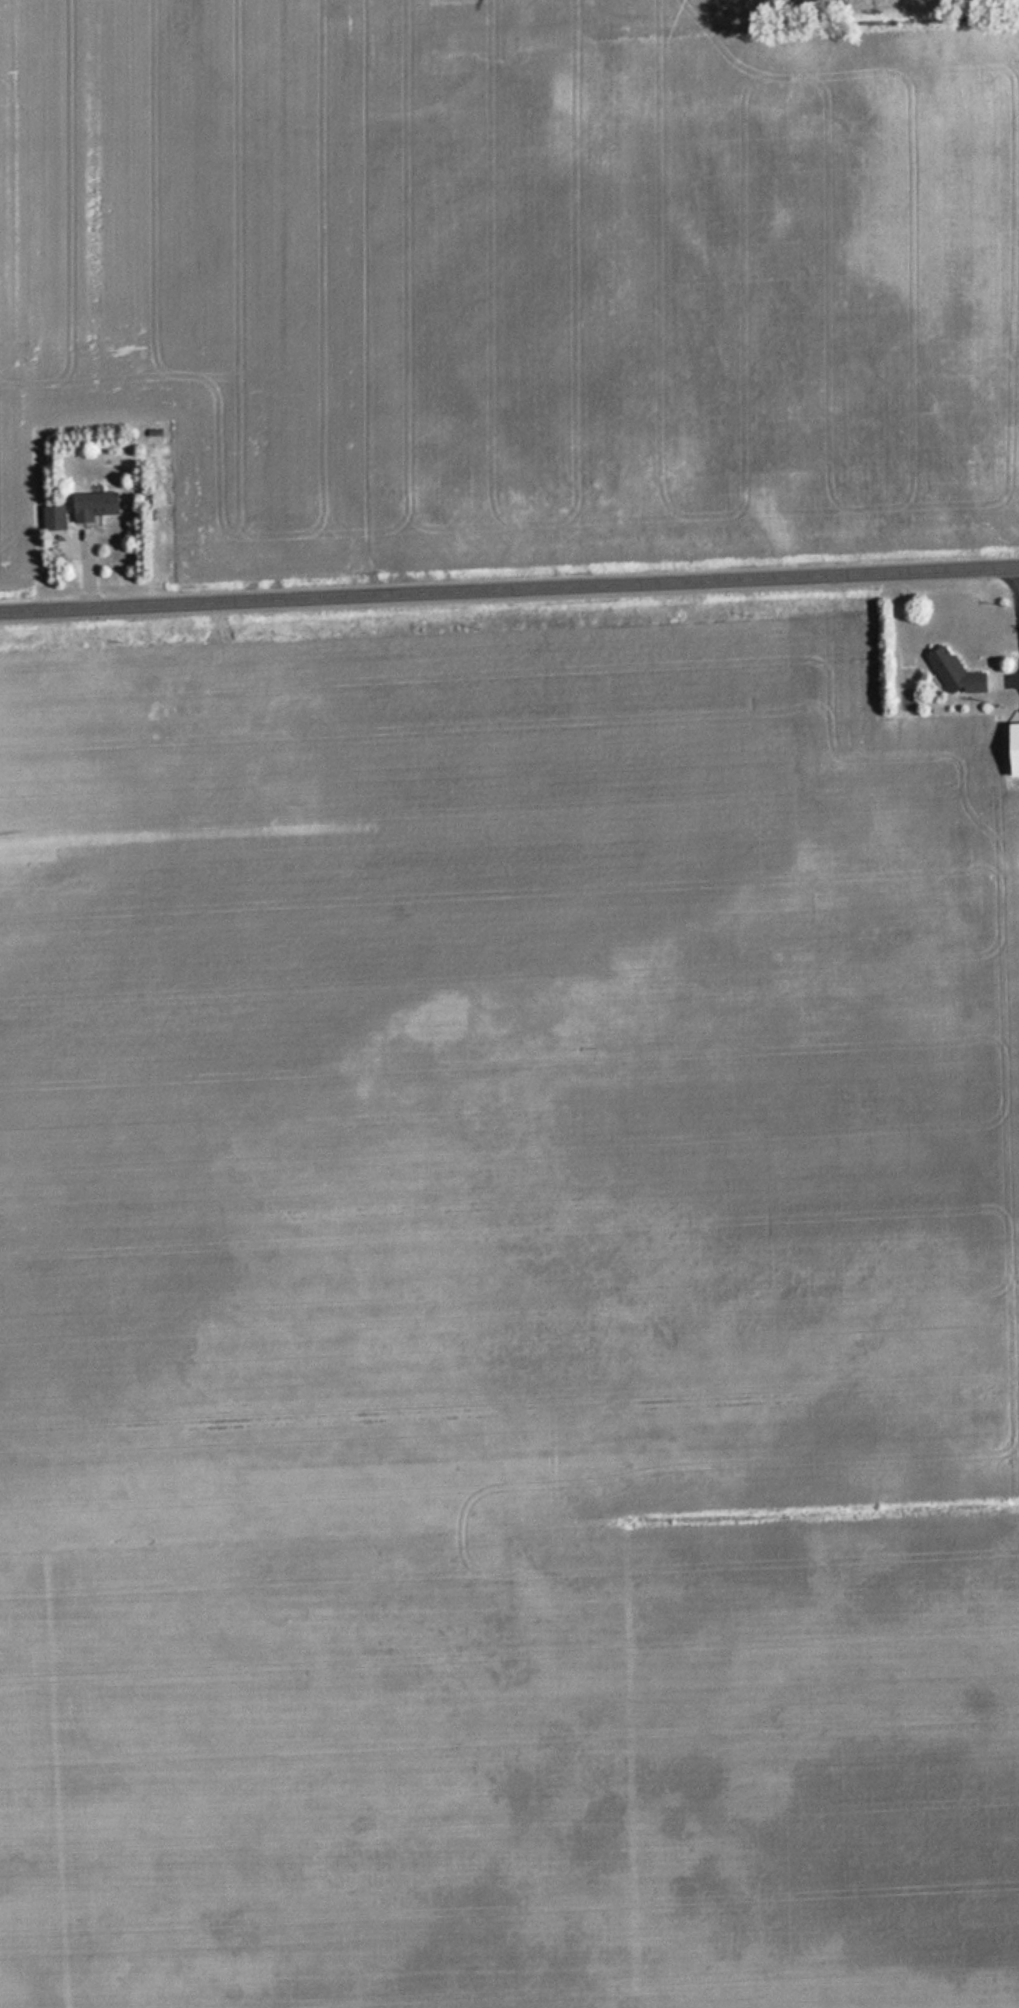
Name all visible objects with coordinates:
building: (91, 506)
building: (52, 518)
road: (509, 590)
building: (953, 672)

